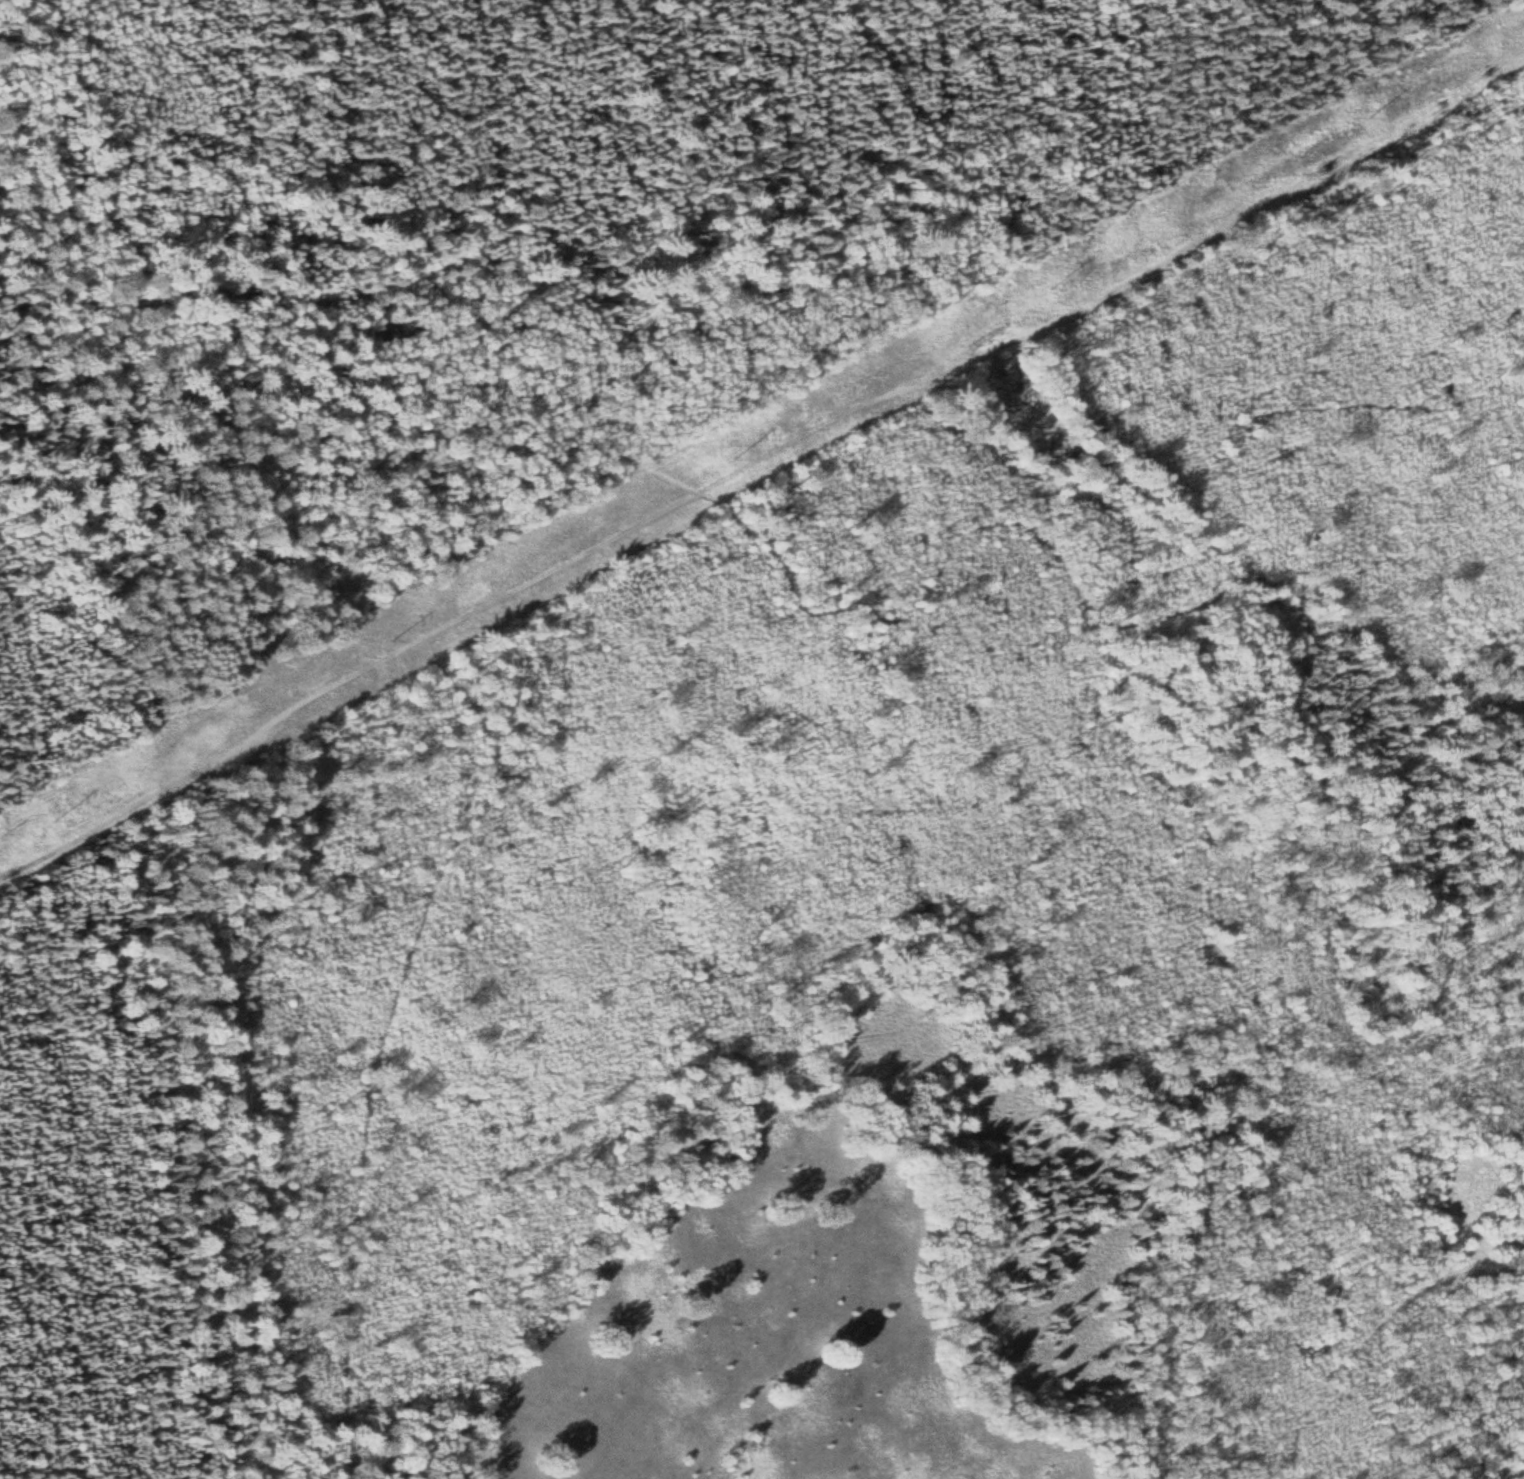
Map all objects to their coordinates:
road: (761, 461)
road: (753, 544)
road: (1268, 1385)

